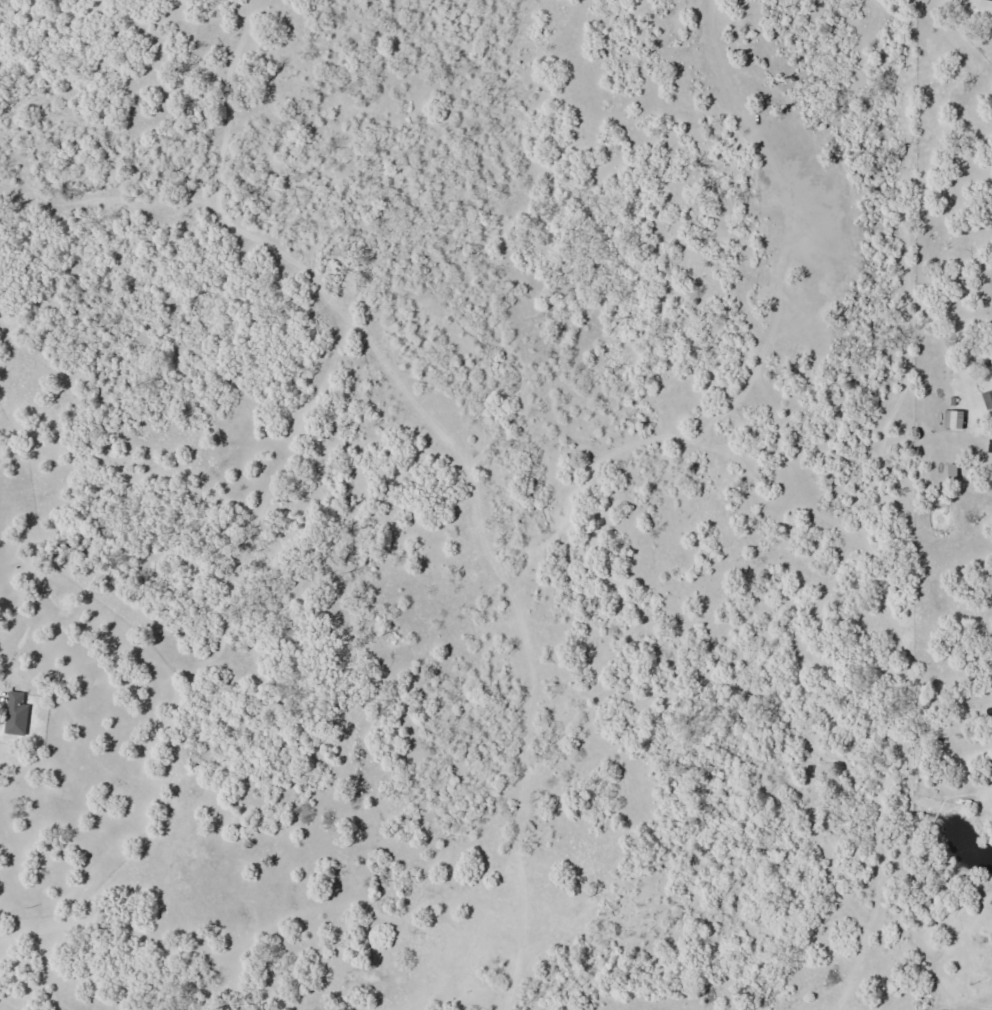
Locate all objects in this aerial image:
building: (983, 6)
building: (988, 400)
building: (953, 419)
building: (952, 471)
building: (16, 714)
building: (986, 772)
road: (914, 1006)

